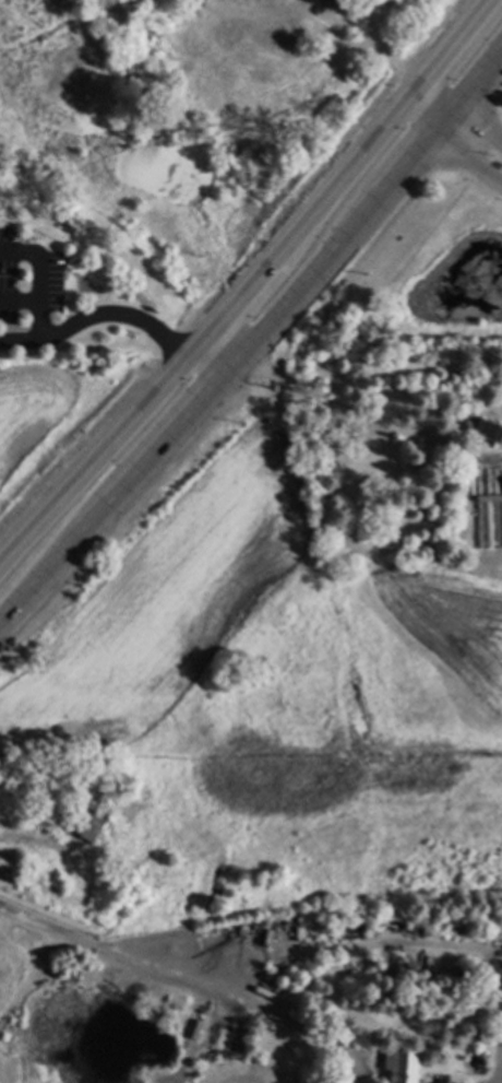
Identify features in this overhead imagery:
road: (427, 105)
road: (471, 140)
road: (36, 283)
road: (249, 285)
road: (116, 316)
road: (255, 333)
road: (364, 419)
crop: (56, 421)
building: (486, 428)
building: (490, 520)
crop: (447, 636)
building: (91, 822)
road: (40, 844)
building: (389, 921)
building: (464, 972)
road: (192, 987)
building: (492, 1032)
building: (405, 1066)

